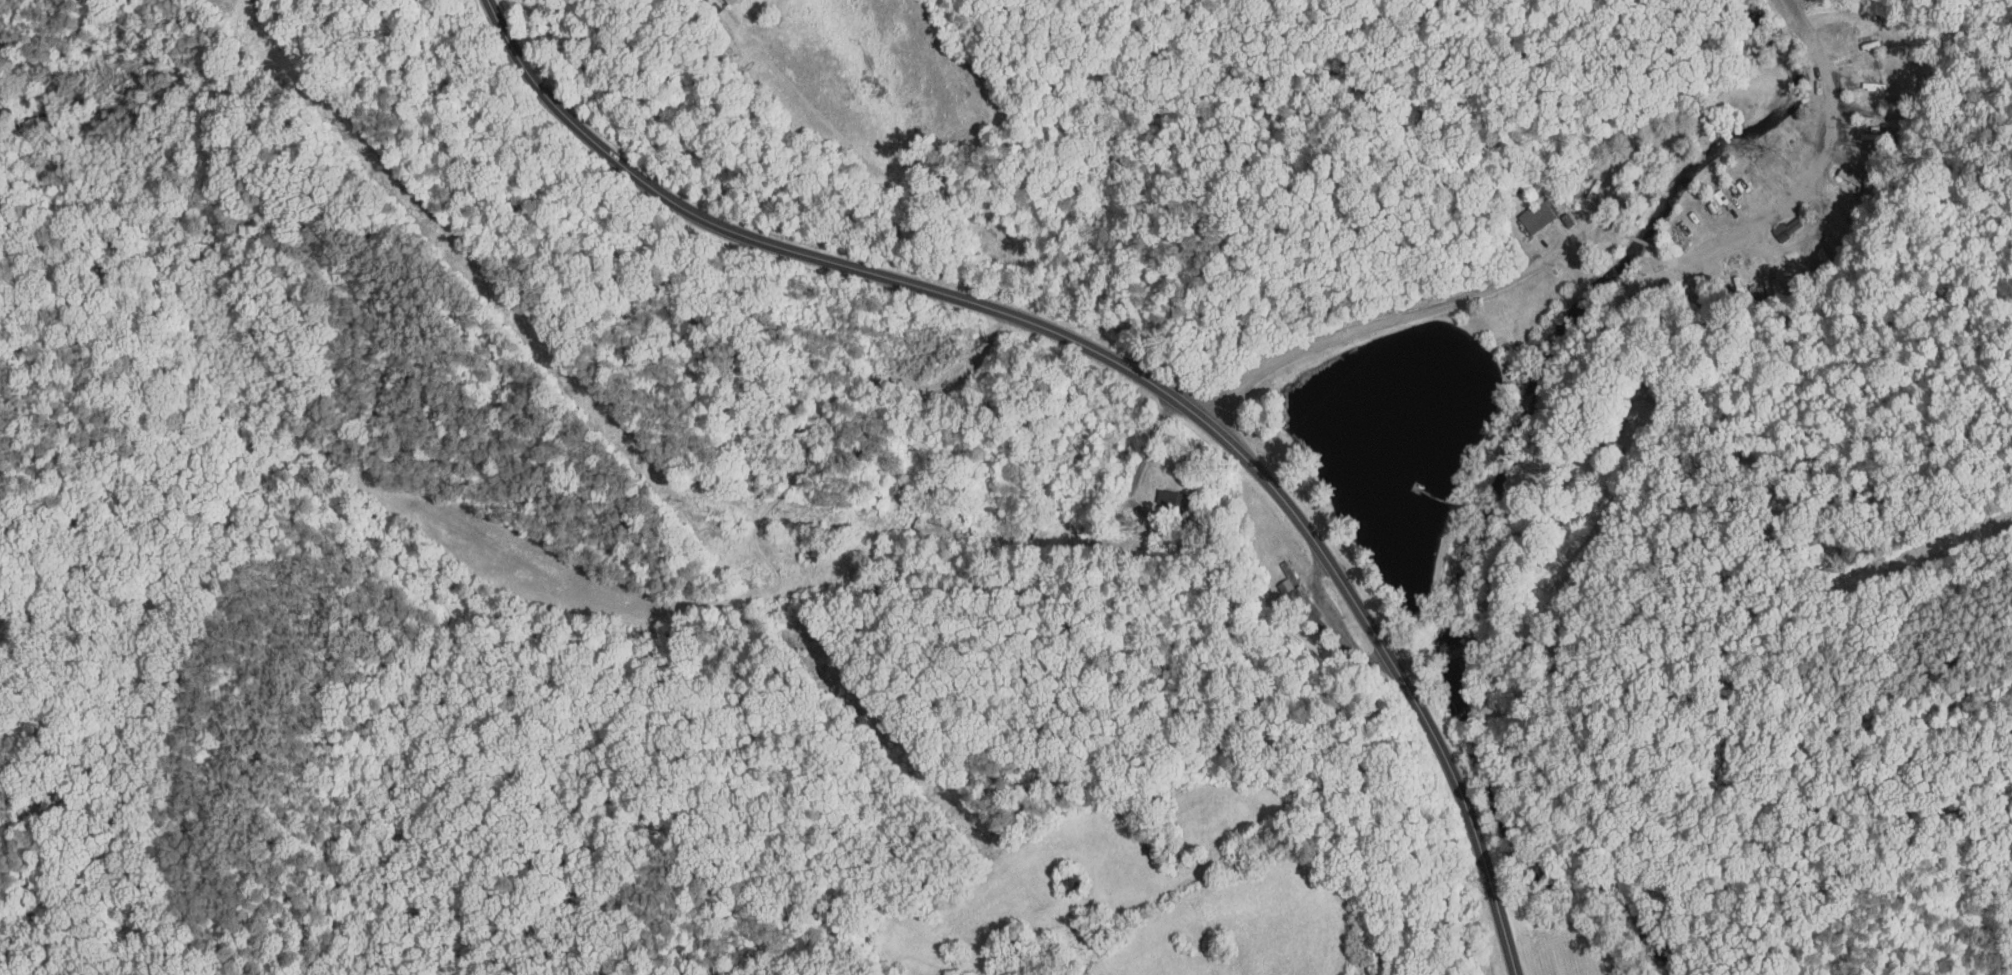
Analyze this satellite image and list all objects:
road: (1805, 191)
building: (1524, 209)
building: (1772, 222)
road: (1609, 231)
road: (1643, 246)
road: (1547, 256)
road: (1117, 362)
road: (1143, 455)
building: (1156, 492)
building: (1278, 577)

